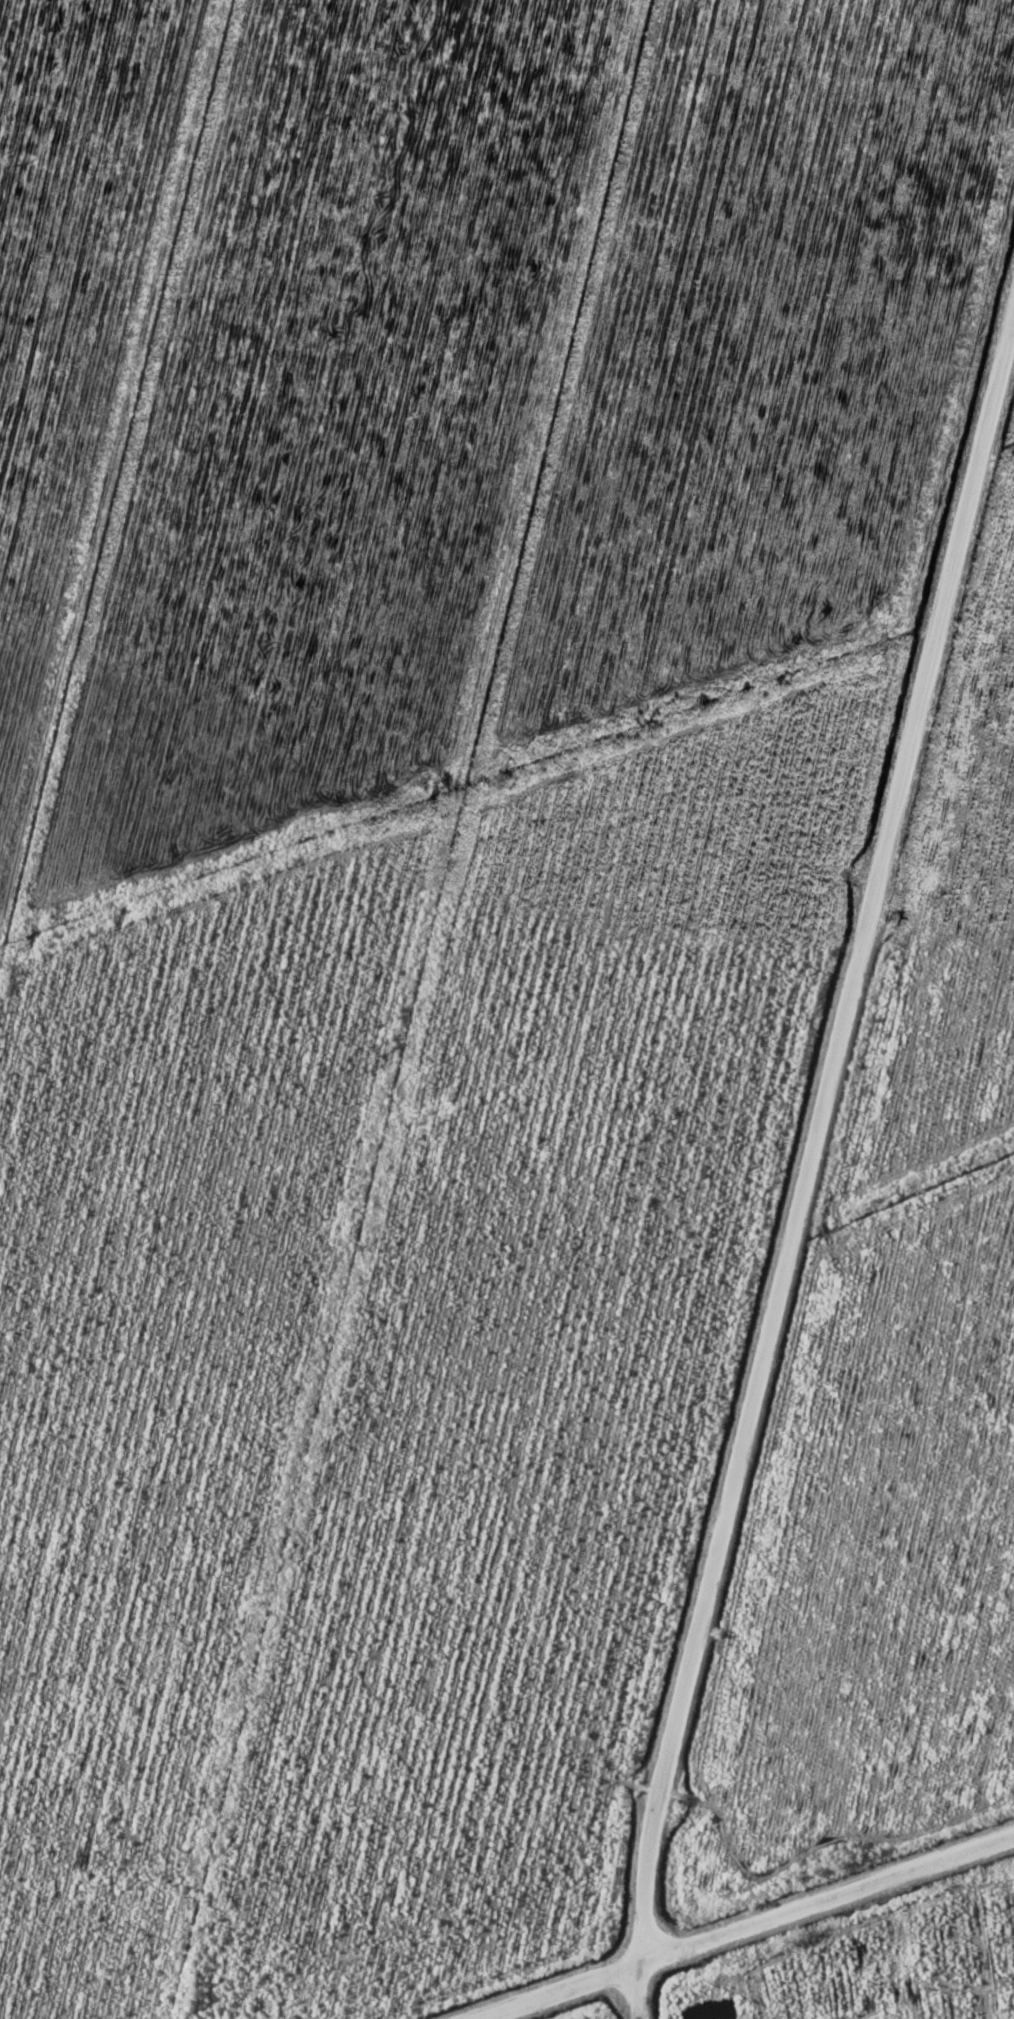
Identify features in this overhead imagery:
road: (815, 1221)

